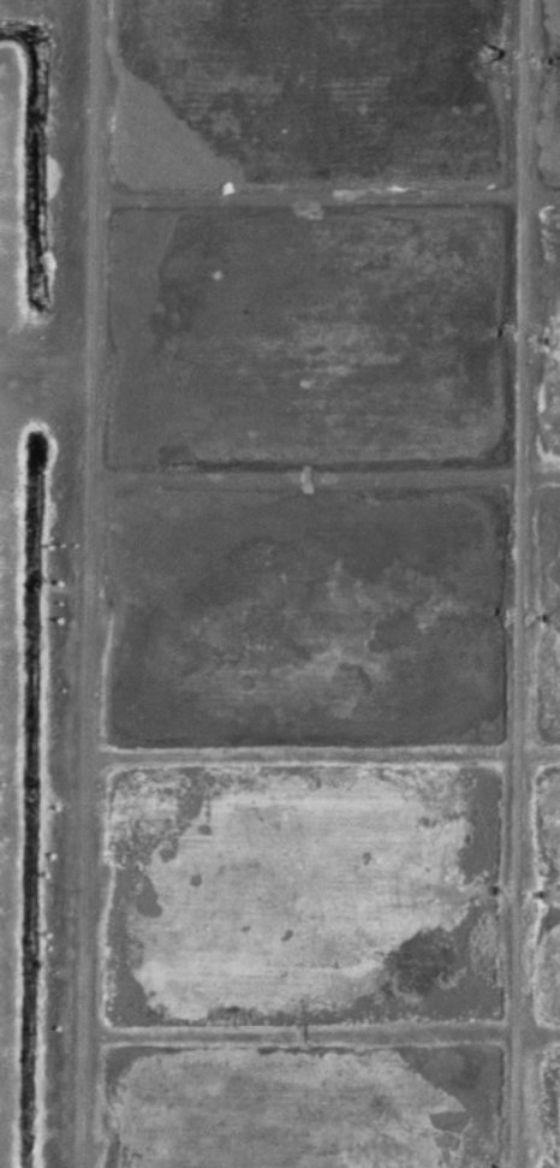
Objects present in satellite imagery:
wastewater plant: (280, 583)

